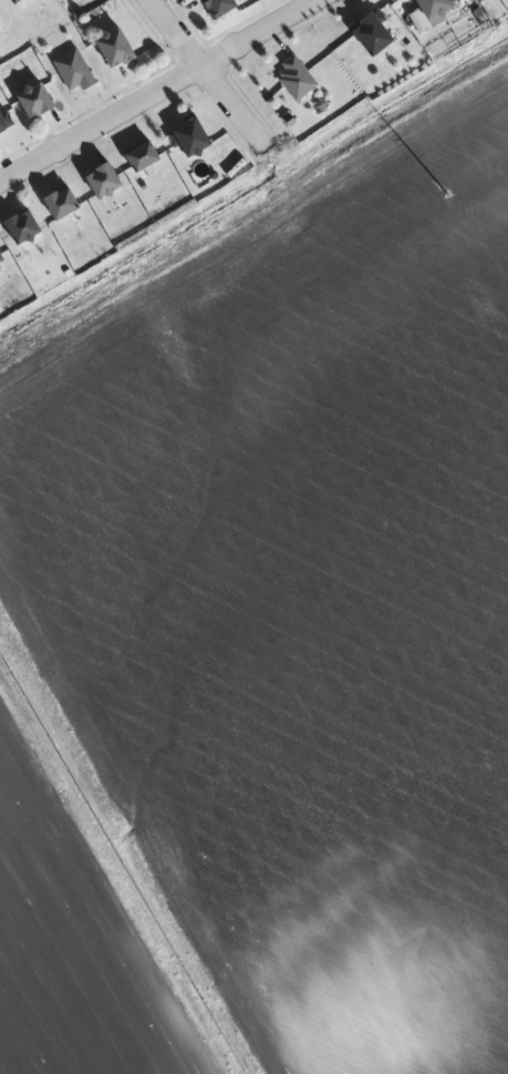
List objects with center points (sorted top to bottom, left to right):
building: (18, 1)
building: (221, 7)
building: (435, 8)
building: (0, 24)
building: (374, 35)
building: (117, 49)
building: (76, 70)
road: (214, 74)
building: (300, 78)
road: (162, 94)
building: (38, 101)
building: (7, 124)
building: (193, 137)
building: (144, 156)
building: (105, 181)
building: (63, 203)
building: (24, 227)
building: (2, 257)

